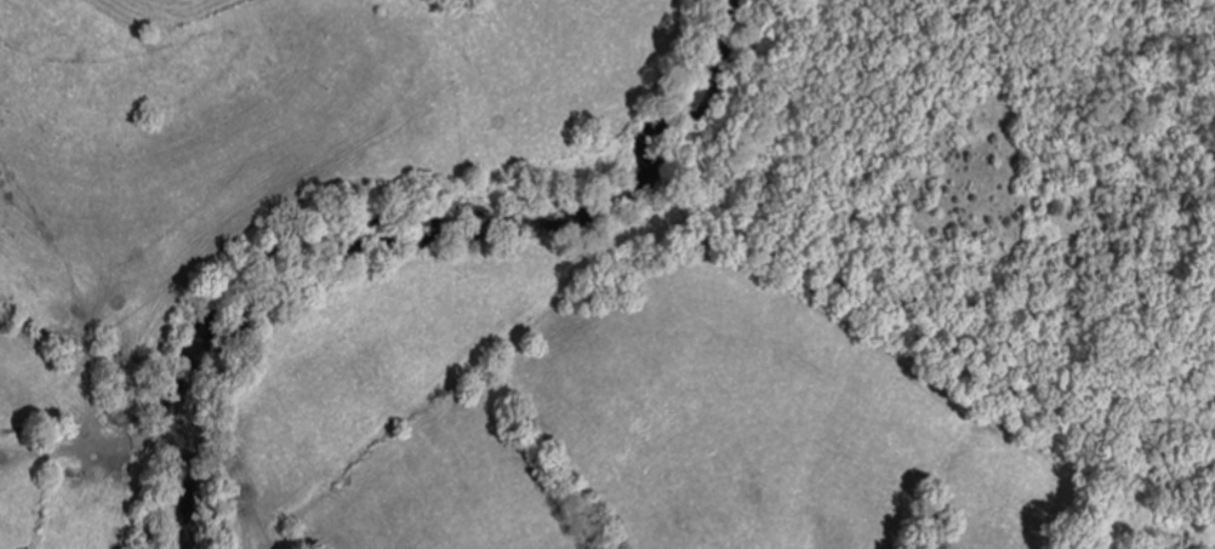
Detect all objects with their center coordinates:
road: (975, 376)

